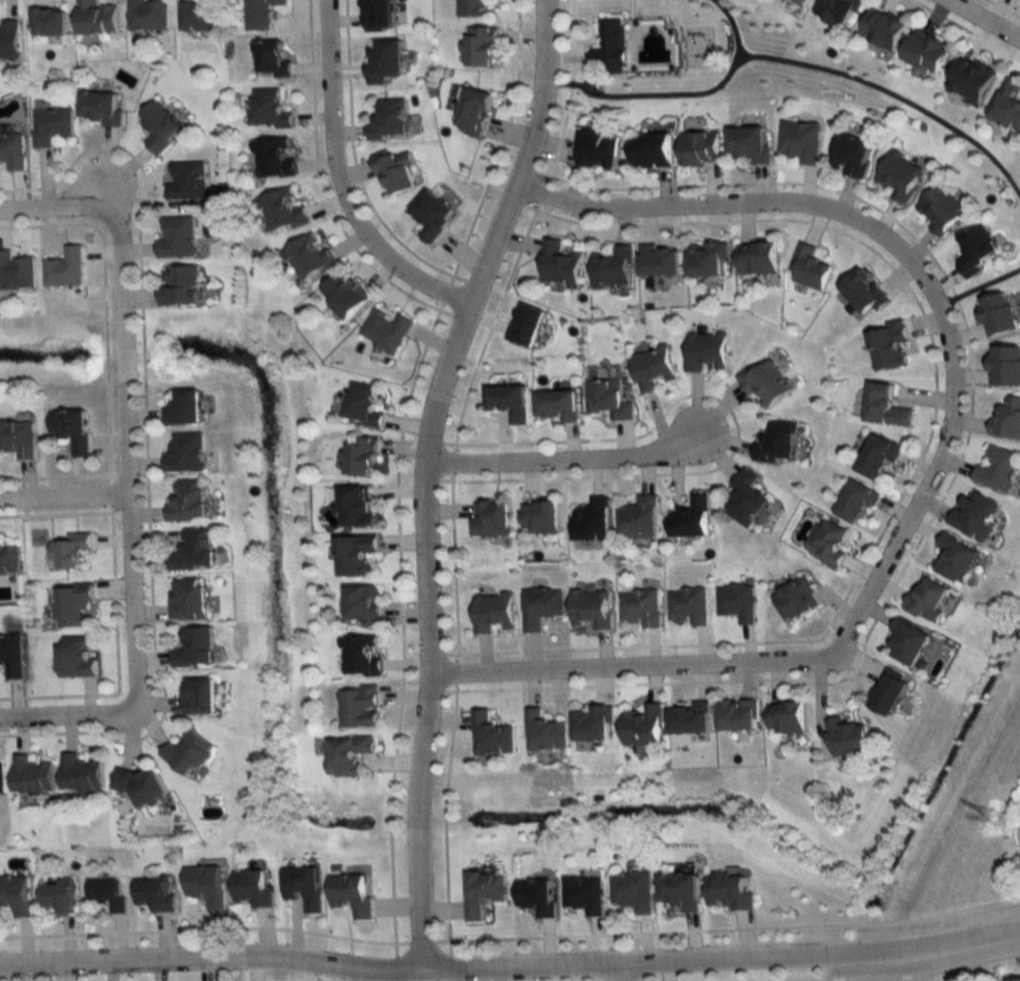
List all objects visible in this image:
building: (799, 2)
building: (470, 8)
building: (835, 11)
building: (262, 14)
building: (147, 15)
building: (195, 15)
building: (376, 15)
building: (95, 18)
road: (979, 21)
building: (47, 22)
building: (881, 30)
building: (8, 40)
building: (478, 47)
building: (609, 48)
building: (926, 53)
building: (270, 60)
building: (383, 61)
building: (970, 79)
road: (690, 104)
building: (1007, 104)
road: (892, 105)
building: (98, 108)
building: (268, 109)
building: (471, 111)
building: (388, 120)
building: (49, 126)
building: (158, 126)
building: (800, 141)
building: (748, 143)
building: (700, 148)
building: (597, 149)
building: (651, 149)
building: (11, 151)
building: (851, 155)
building: (272, 158)
building: (393, 171)
building: (899, 176)
building: (185, 181)
road: (341, 183)
road: (55, 203)
road: (745, 204)
building: (940, 209)
building: (282, 211)
building: (430, 216)
building: (176, 238)
building: (977, 249)
building: (308, 257)
building: (706, 258)
building: (756, 259)
building: (659, 260)
building: (559, 264)
building: (612, 268)
building: (808, 268)
building: (63, 269)
building: (15, 273)
building: (177, 286)
building: (863, 292)
building: (342, 295)
road: (979, 296)
building: (998, 314)
building: (525, 325)
building: (385, 330)
building: (888, 346)
road: (126, 348)
building: (706, 352)
building: (1005, 366)
building: (652, 368)
building: (765, 383)
building: (607, 396)
building: (507, 402)
building: (361, 405)
building: (555, 405)
building: (885, 406)
building: (181, 408)
building: (1007, 419)
building: (71, 430)
building: (18, 437)
building: (777, 443)
building: (184, 453)
building: (359, 458)
building: (877, 458)
road: (569, 463)
building: (997, 469)
road: (422, 473)
road: (65, 491)
road: (928, 496)
building: (746, 499)
building: (186, 501)
building: (856, 503)
building: (355, 507)
building: (974, 515)
building: (539, 517)
building: (691, 518)
building: (490, 519)
building: (639, 519)
building: (591, 520)
building: (828, 542)
building: (193, 550)
building: (67, 553)
building: (354, 556)
building: (954, 559)
building: (9, 561)
road: (134, 597)
building: (186, 598)
building: (797, 599)
building: (738, 602)
building: (926, 602)
building: (361, 606)
building: (689, 606)
building: (74, 607)
building: (540, 608)
building: (641, 608)
building: (591, 609)
building: (492, 613)
building: (908, 643)
building: (193, 648)
building: (359, 656)
building: (11, 657)
building: (76, 657)
road: (634, 670)
building: (888, 695)
building: (198, 696)
building: (357, 707)
road: (66, 710)
building: (738, 716)
building: (787, 718)
building: (691, 719)
building: (592, 724)
building: (641, 725)
building: (544, 733)
building: (490, 736)
building: (847, 738)
building: (187, 753)
building: (345, 754)
building: (80, 774)
building: (31, 775)
building: (1, 779)
building: (140, 786)
power tower: (1002, 817)
building: (205, 884)
building: (303, 885)
building: (251, 888)
building: (681, 889)
building: (633, 890)
building: (730, 891)
building: (156, 892)
building: (483, 892)
building: (585, 893)
building: (16, 894)
building: (108, 894)
building: (351, 895)
building: (537, 895)
building: (57, 896)
road: (510, 964)
road: (626, 970)
building: (1014, 978)

